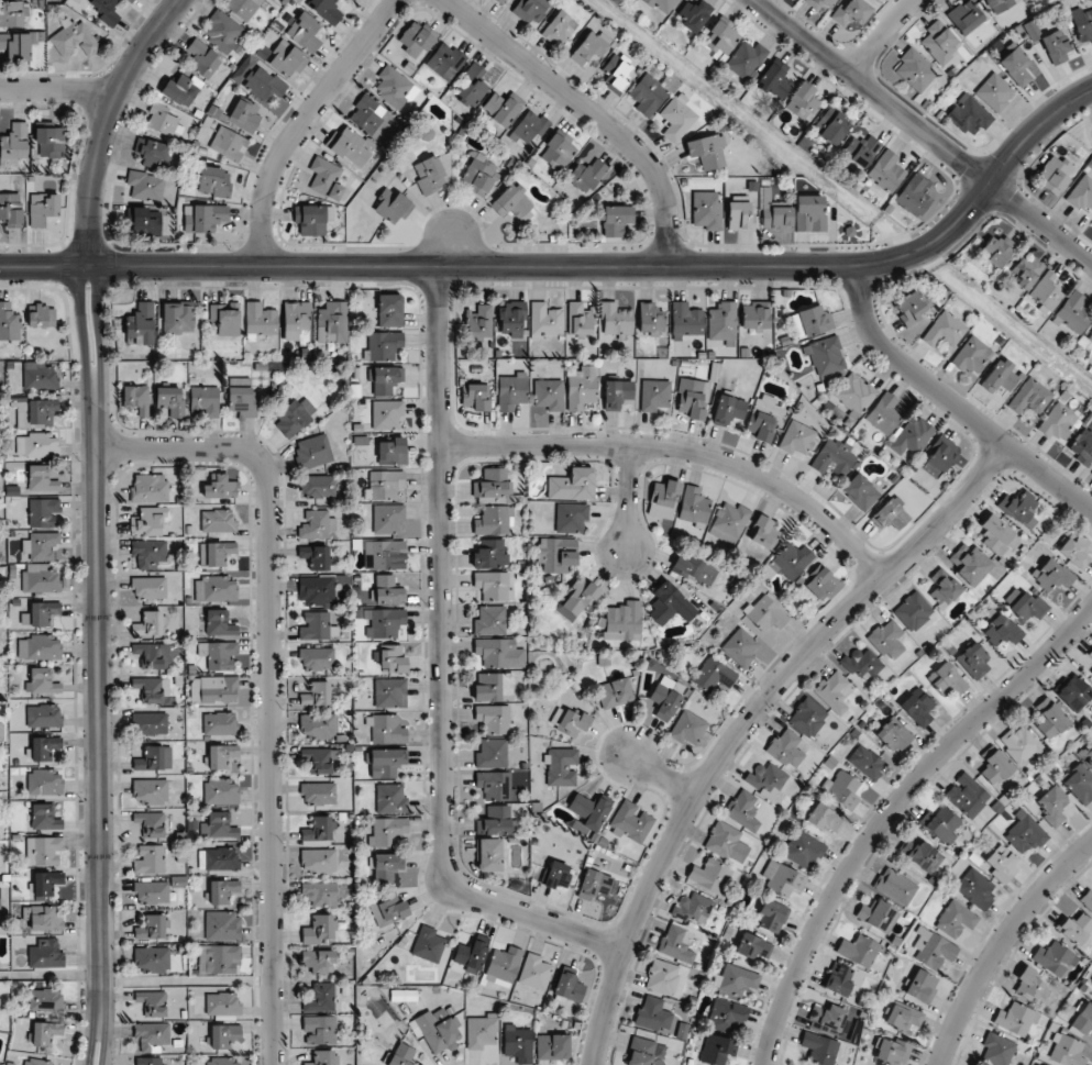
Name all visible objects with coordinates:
building: (131, 0)
building: (500, 1)
building: (819, 2)
building: (661, 4)
building: (1000, 4)
building: (242, 8)
building: (104, 9)
building: (326, 10)
building: (530, 10)
building: (13, 12)
building: (851, 12)
building: (694, 14)
building: (966, 16)
building: (1082, 24)
building: (559, 27)
building: (223, 31)
building: (305, 32)
road: (883, 36)
building: (721, 37)
building: (74, 38)
building: (416, 38)
building: (940, 41)
building: (16, 45)
building: (589, 46)
building: (1056, 46)
building: (202, 57)
building: (287, 58)
building: (746, 59)
building: (445, 60)
building: (1016, 66)
building: (915, 69)
building: (617, 70)
building: (775, 79)
building: (263, 84)
building: (394, 86)
building: (472, 87)
road: (58, 89)
building: (181, 89)
building: (995, 92)
building: (648, 93)
building: (802, 100)
building: (503, 108)
road: (591, 112)
building: (367, 113)
building: (244, 114)
building: (969, 115)
building: (677, 118)
building: (162, 120)
road: (305, 122)
building: (831, 125)
building: (529, 126)
road: (923, 131)
building: (14, 142)
building: (49, 142)
building: (229, 143)
building: (350, 146)
building: (558, 151)
building: (707, 151)
building: (861, 151)
building: (153, 152)
building: (886, 170)
building: (1055, 174)
building: (430, 175)
building: (479, 175)
building: (586, 175)
building: (326, 178)
building: (214, 181)
building: (146, 185)
building: (1081, 192)
building: (914, 195)
building: (512, 203)
building: (391, 204)
building: (44, 208)
building: (11, 209)
building: (706, 209)
building: (809, 213)
building: (774, 215)
building: (740, 217)
building: (206, 218)
building: (312, 218)
building: (615, 220)
building: (144, 221)
road: (578, 266)
building: (1026, 271)
building: (912, 307)
building: (390, 310)
building: (1074, 312)
building: (755, 315)
building: (43, 317)
building: (177, 318)
building: (225, 318)
building: (296, 319)
building: (512, 319)
building: (580, 319)
building: (616, 319)
building: (260, 320)
building: (650, 320)
building: (685, 320)
building: (479, 321)
building: (545, 321)
building: (723, 321)
building: (812, 321)
building: (9, 322)
building: (332, 322)
building: (140, 324)
building: (945, 330)
building: (1091, 336)
building: (383, 345)
building: (825, 355)
building: (972, 355)
building: (38, 376)
building: (1001, 376)
building: (386, 379)
building: (581, 388)
building: (511, 391)
building: (616, 393)
building: (549, 395)
building: (854, 395)
building: (654, 396)
building: (242, 397)
building: (475, 397)
building: (1030, 397)
building: (137, 398)
building: (693, 398)
building: (206, 399)
building: (170, 400)
road: (952, 403)
building: (728, 410)
building: (884, 413)
building: (387, 414)
building: (295, 415)
building: (764, 418)
building: (1059, 421)
building: (912, 435)
building: (797, 439)
building: (37, 444)
building: (1082, 445)
road: (683, 450)
building: (312, 451)
building: (393, 451)
building: (940, 456)
building: (834, 458)
building: (41, 478)
building: (384, 485)
building: (573, 485)
building: (319, 486)
building: (494, 486)
building: (220, 487)
building: (150, 488)
building: (860, 491)
building: (665, 496)
road: (629, 498)
building: (1019, 508)
building: (43, 512)
building: (691, 512)
building: (890, 515)
building: (571, 517)
building: (388, 518)
building: (494, 520)
road: (97, 521)
building: (218, 521)
building: (148, 522)
building: (728, 522)
building: (317, 524)
building: (763, 532)
building: (996, 533)
building: (42, 546)
building: (1074, 551)
building: (150, 552)
building: (218, 552)
building: (554, 553)
building: (385, 554)
building: (489, 554)
building: (316, 556)
building: (790, 561)
building: (971, 564)
building: (694, 568)
building: (1051, 575)
building: (40, 578)
building: (819, 583)
building: (492, 585)
building: (150, 587)
building: (944, 588)
building: (216, 589)
building: (320, 589)
building: (386, 591)
building: (576, 599)
building: (669, 603)
building: (43, 612)
building: (913, 612)
building: (765, 613)
building: (490, 620)
building: (624, 621)
building: (219, 622)
building: (385, 622)
building: (151, 623)
building: (318, 625)
building: (1001, 631)
building: (887, 640)
building: (740, 646)
building: (40, 647)
building: (499, 653)
building: (218, 654)
building: (1090, 654)
building: (153, 655)
building: (317, 657)
building: (391, 658)
building: (973, 661)
building: (861, 664)
road: (442, 668)
building: (1091, 674)
building: (714, 676)
road: (271, 678)
building: (947, 679)
building: (42, 681)
building: (493, 686)
building: (152, 689)
building: (214, 689)
building: (834, 691)
building: (390, 692)
building: (615, 692)
building: (1073, 692)
building: (317, 694)
building: (666, 699)
building: (917, 707)
building: (43, 715)
building: (807, 717)
building: (494, 718)
building: (1050, 718)
building: (569, 721)
road: (750, 722)
building: (150, 723)
building: (219, 723)
building: (318, 725)
building: (687, 728)
building: (386, 729)
building: (894, 735)
building: (1021, 744)
building: (44, 746)
building: (786, 748)
building: (492, 753)
building: (1090, 753)
building: (222, 755)
building: (154, 758)
building: (320, 758)
building: (386, 762)
building: (867, 762)
building: (562, 766)
building: (994, 766)
road: (664, 775)
building: (766, 777)
building: (45, 783)
building: (1080, 783)
building: (495, 786)
building: (842, 789)
building: (151, 790)
building: (221, 791)
building: (319, 792)
building: (967, 795)
building: (390, 798)
building: (1052, 805)
building: (589, 810)
building: (743, 810)
road: (891, 810)
building: (45, 817)
building: (824, 818)
building: (496, 821)
building: (631, 821)
building: (941, 823)
building: (151, 824)
building: (218, 825)
building: (320, 829)
building: (387, 831)
building: (1024, 833)
building: (727, 842)
building: (44, 850)
building: (804, 850)
building: (920, 854)
building: (488, 855)
building: (221, 858)
building: (150, 859)
building: (319, 861)
building: (1002, 862)
building: (387, 867)
building: (556, 875)
building: (710, 875)
building: (782, 878)
building: (46, 883)
building: (594, 884)
building: (896, 886)
building: (975, 888)
building: (222, 890)
building: (152, 891)
building: (319, 894)
building: (1087, 899)
building: (693, 907)
building: (388, 909)
building: (878, 914)
building: (771, 916)
building: (45, 918)
building: (956, 919)
building: (222, 925)
building: (152, 928)
building: (319, 929)
building: (1076, 929)
building: (677, 943)
building: (428, 944)
road: (1001, 944)
building: (753, 947)
building: (934, 948)
building: (859, 950)
building: (46, 954)
building: (471, 955)
building: (1055, 957)
building: (152, 958)
building: (219, 958)
building: (319, 961)
building: (503, 966)
building: (534, 972)
building: (662, 976)
building: (736, 979)
building: (839, 979)
building: (922, 986)
building: (1032, 986)
building: (569, 987)
building: (320, 997)
building: (45, 999)
building: (152, 1002)
building: (222, 1003)
building: (652, 1013)
building: (727, 1014)
building: (904, 1017)
building: (1015, 1019)
building: (1083, 1019)
building: (828, 1020)
building: (320, 1029)
building: (437, 1029)
building: (481, 1032)
building: (45, 1033)
building: (224, 1035)
building: (153, 1036)
building: (517, 1043)
building: (552, 1046)
building: (819, 1049)
building: (717, 1050)
building: (997, 1050)
building: (892, 1051)
building: (1067, 1051)
building: (644, 1052)
building: (401, 1054)
building: (323, 1057)
building: (148, 1061)
building: (37, 1062)
building: (223, 1062)

